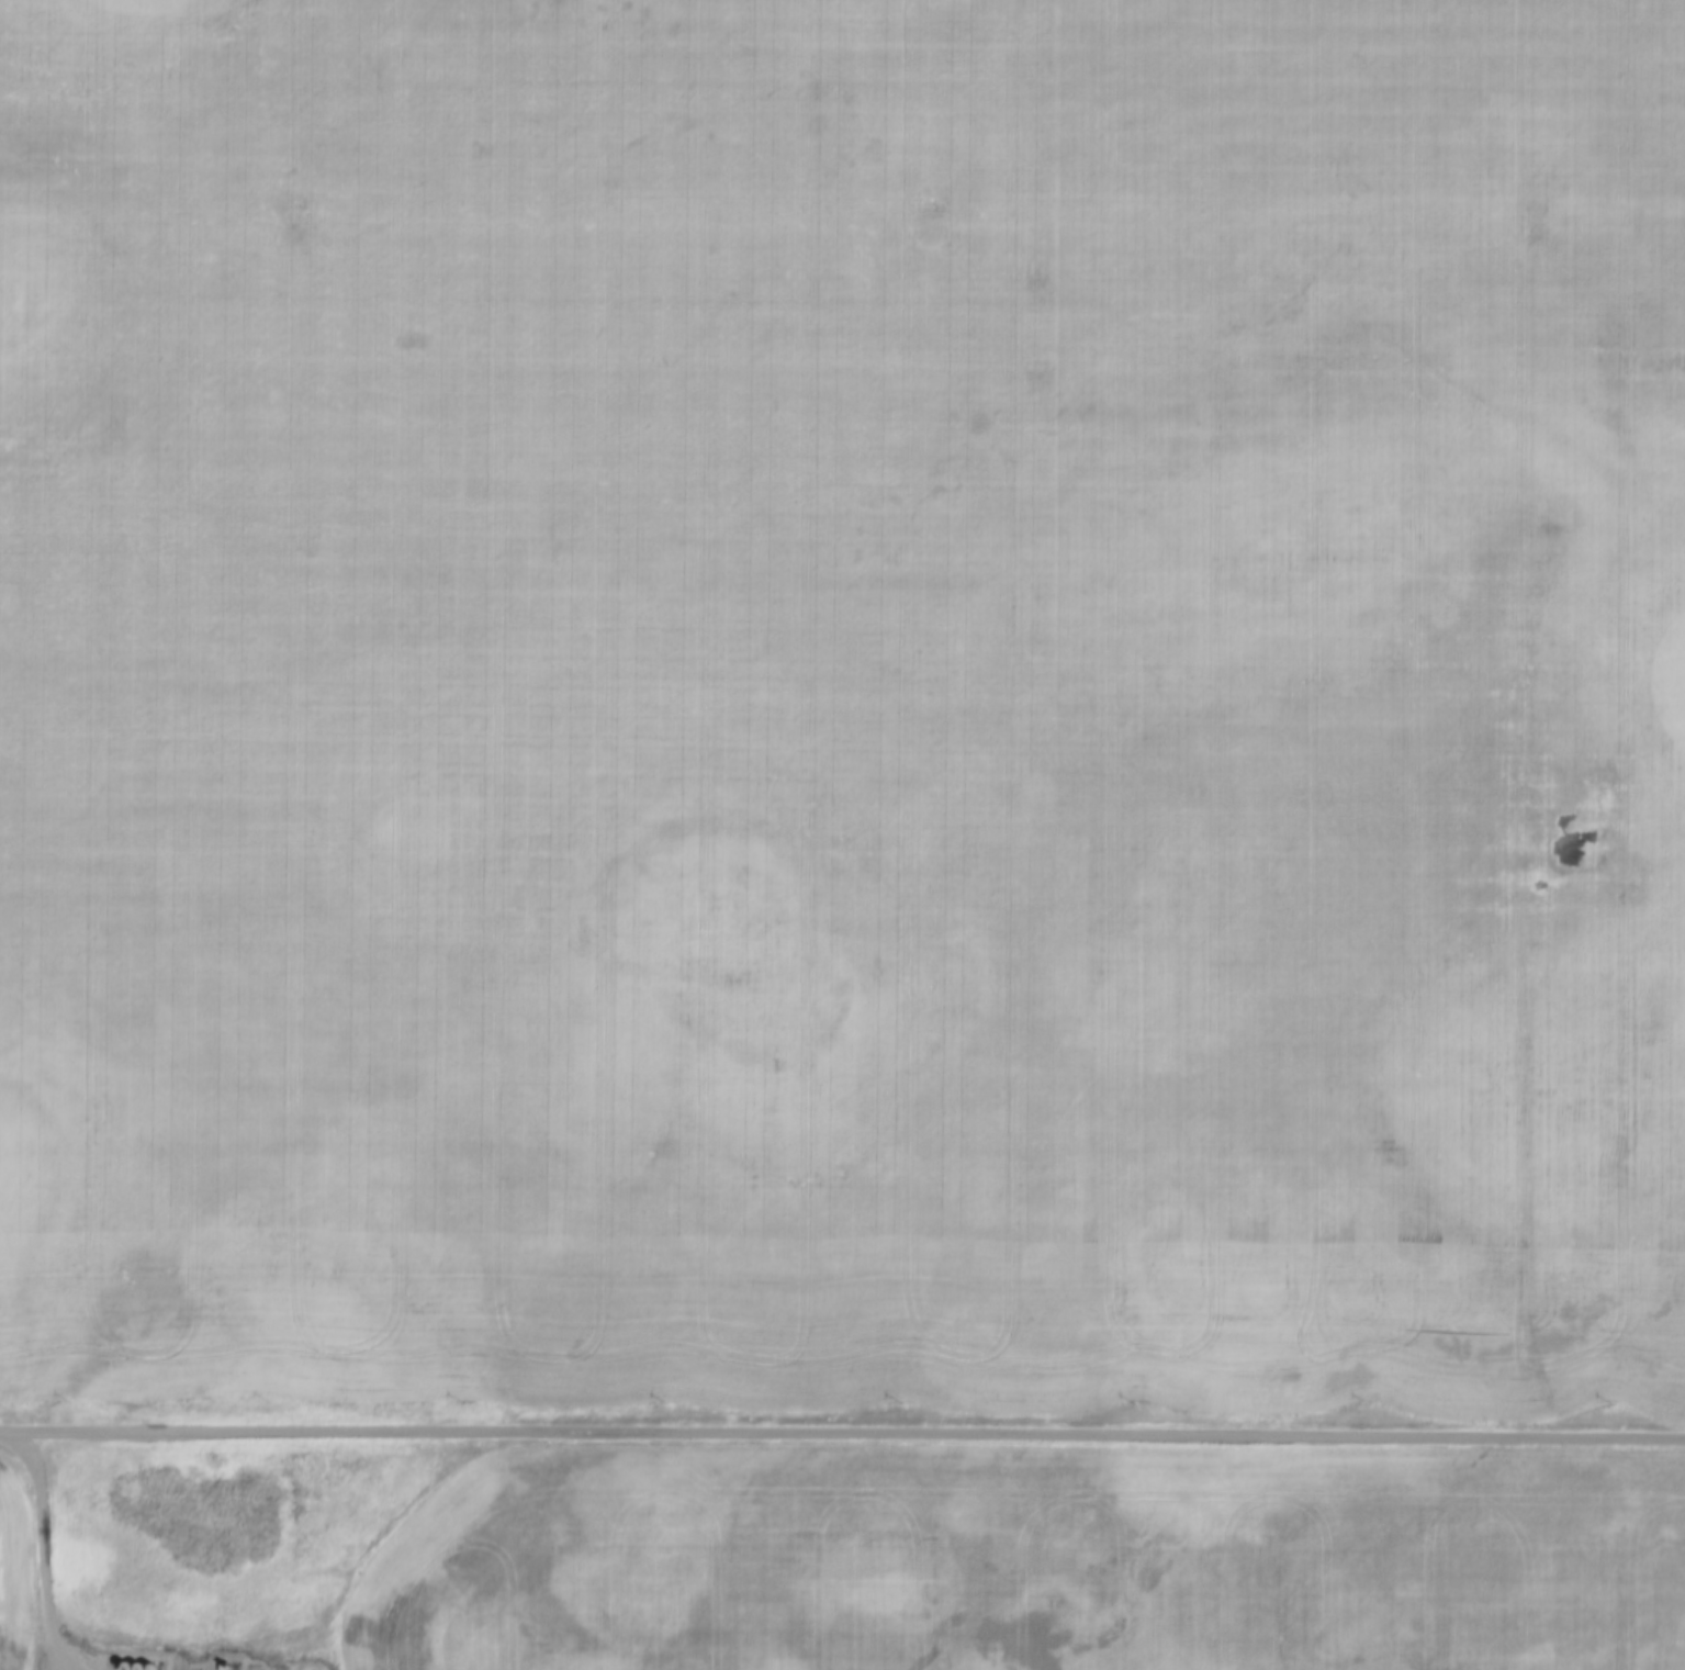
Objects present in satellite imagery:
road: (847, 1422)
road: (4, 1425)
road: (46, 1544)

